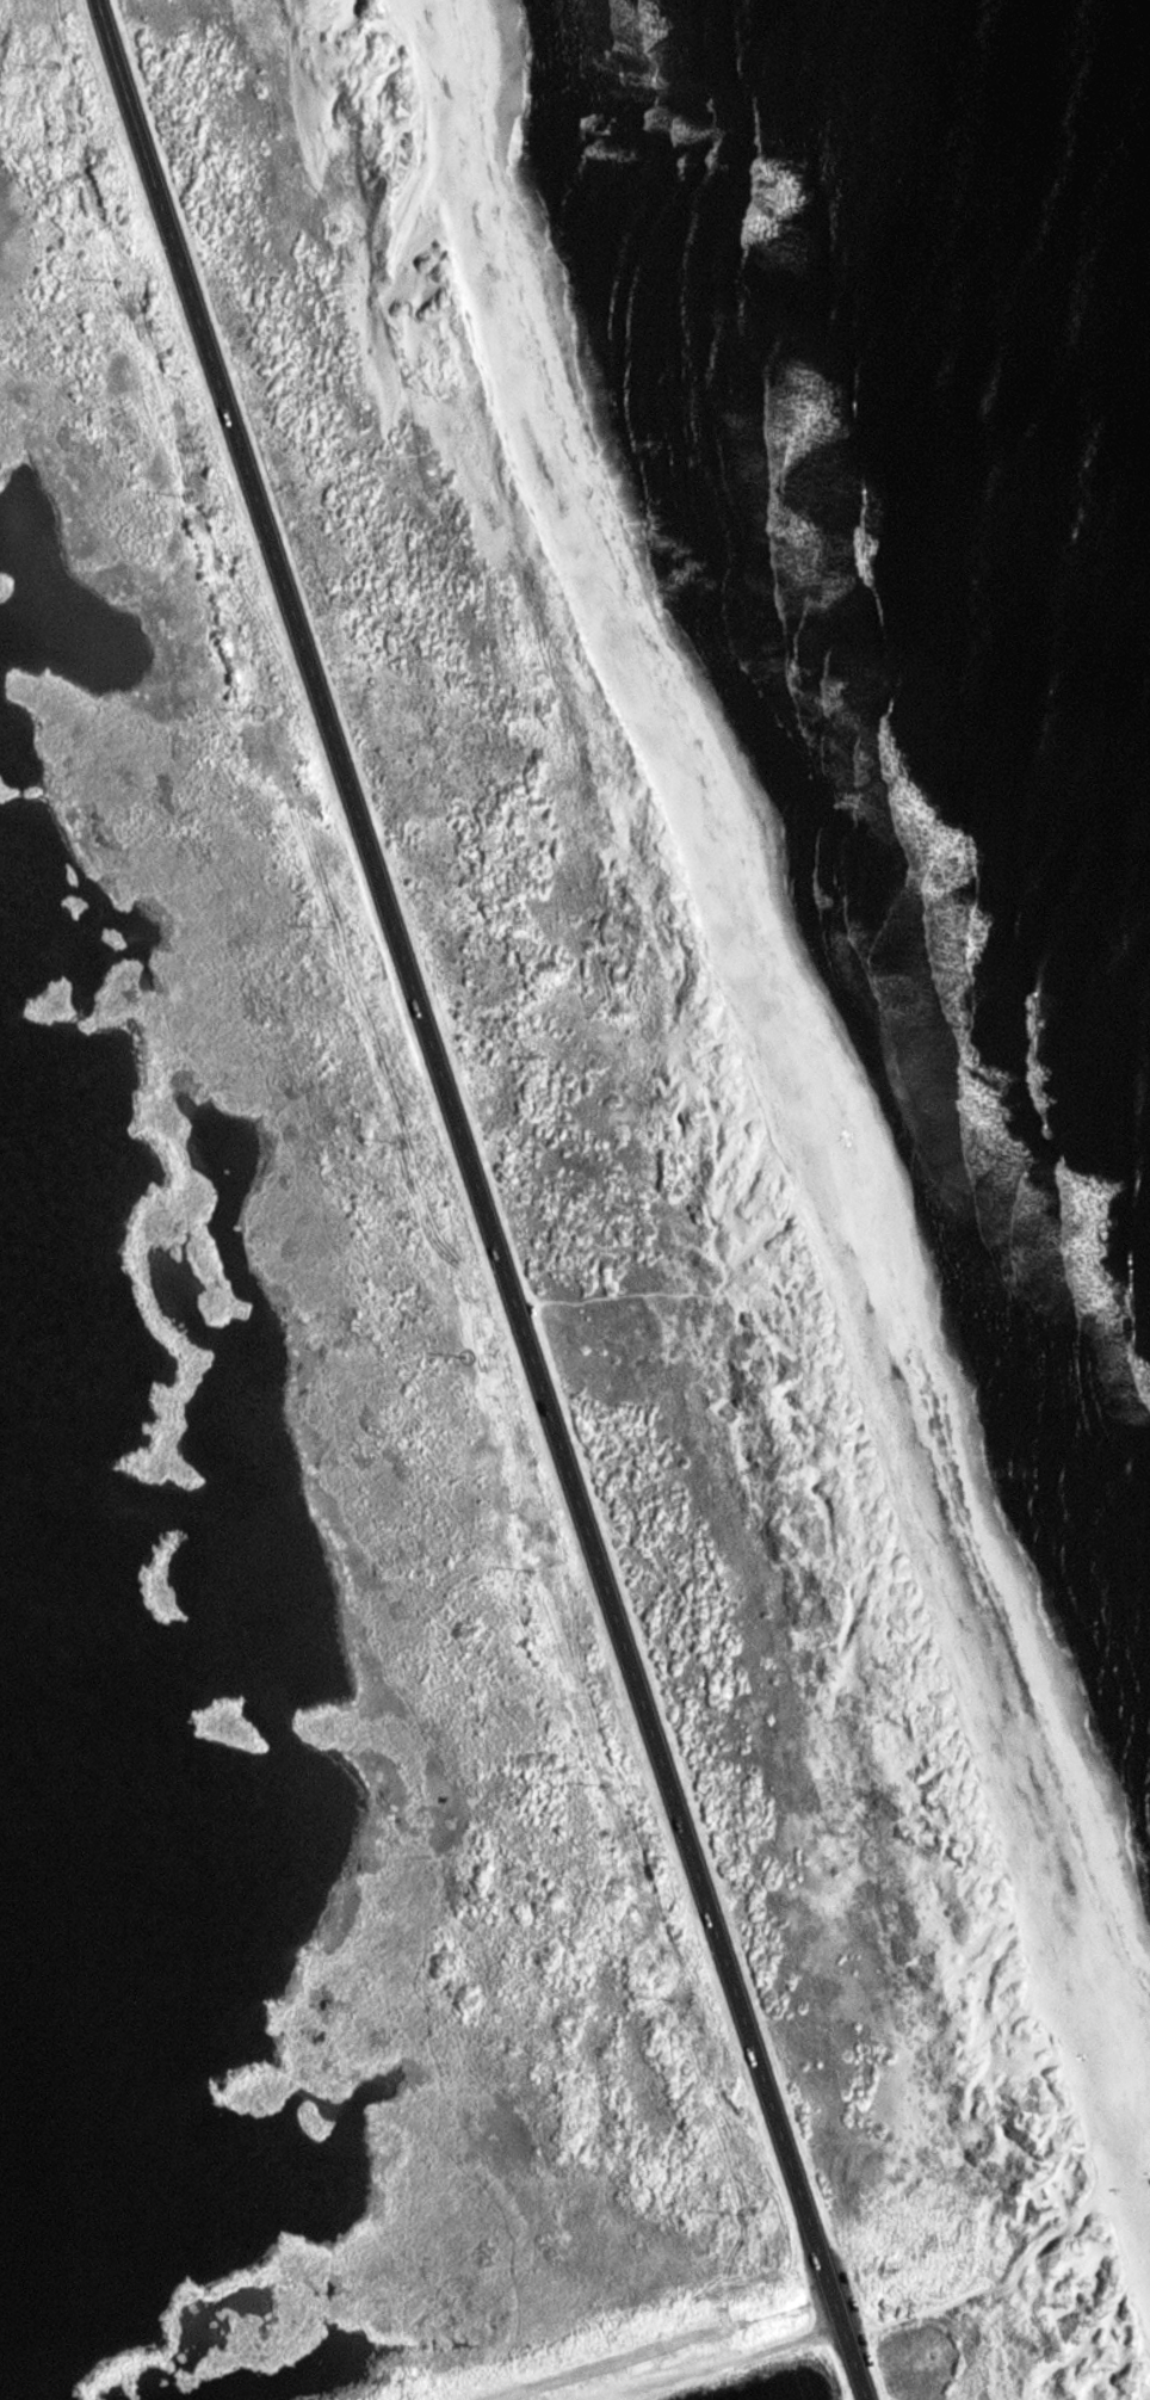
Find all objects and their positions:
power tower: (45, 60)
power tower: (118, 284)
power tower: (190, 495)
power tower: (259, 712)
power tower: (323, 917)
road: (848, 1041)
power tower: (395, 1141)
road: (480, 1199)
road: (617, 1295)
power tower: (466, 1357)
power tower: (533, 1567)
power tower: (605, 1785)
power tower: (679, 2001)
power tower: (744, 2213)
road: (721, 2364)

